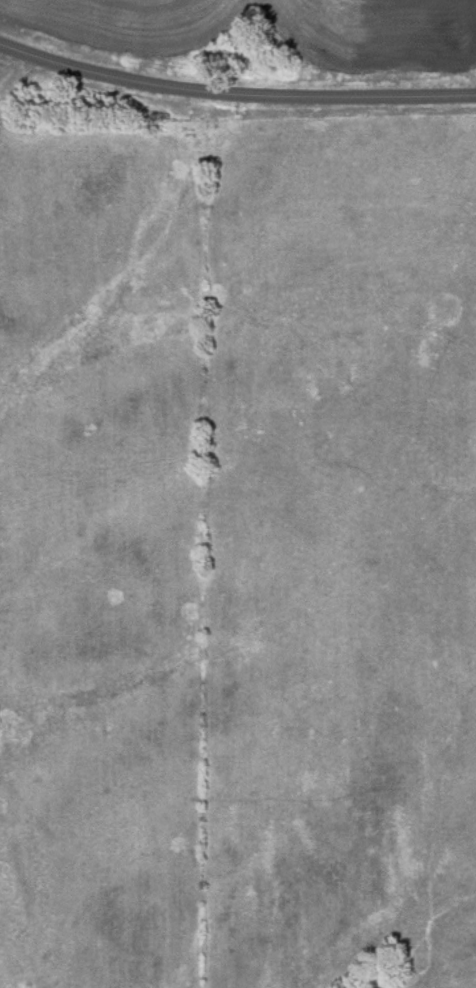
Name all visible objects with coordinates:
road: (235, 88)

